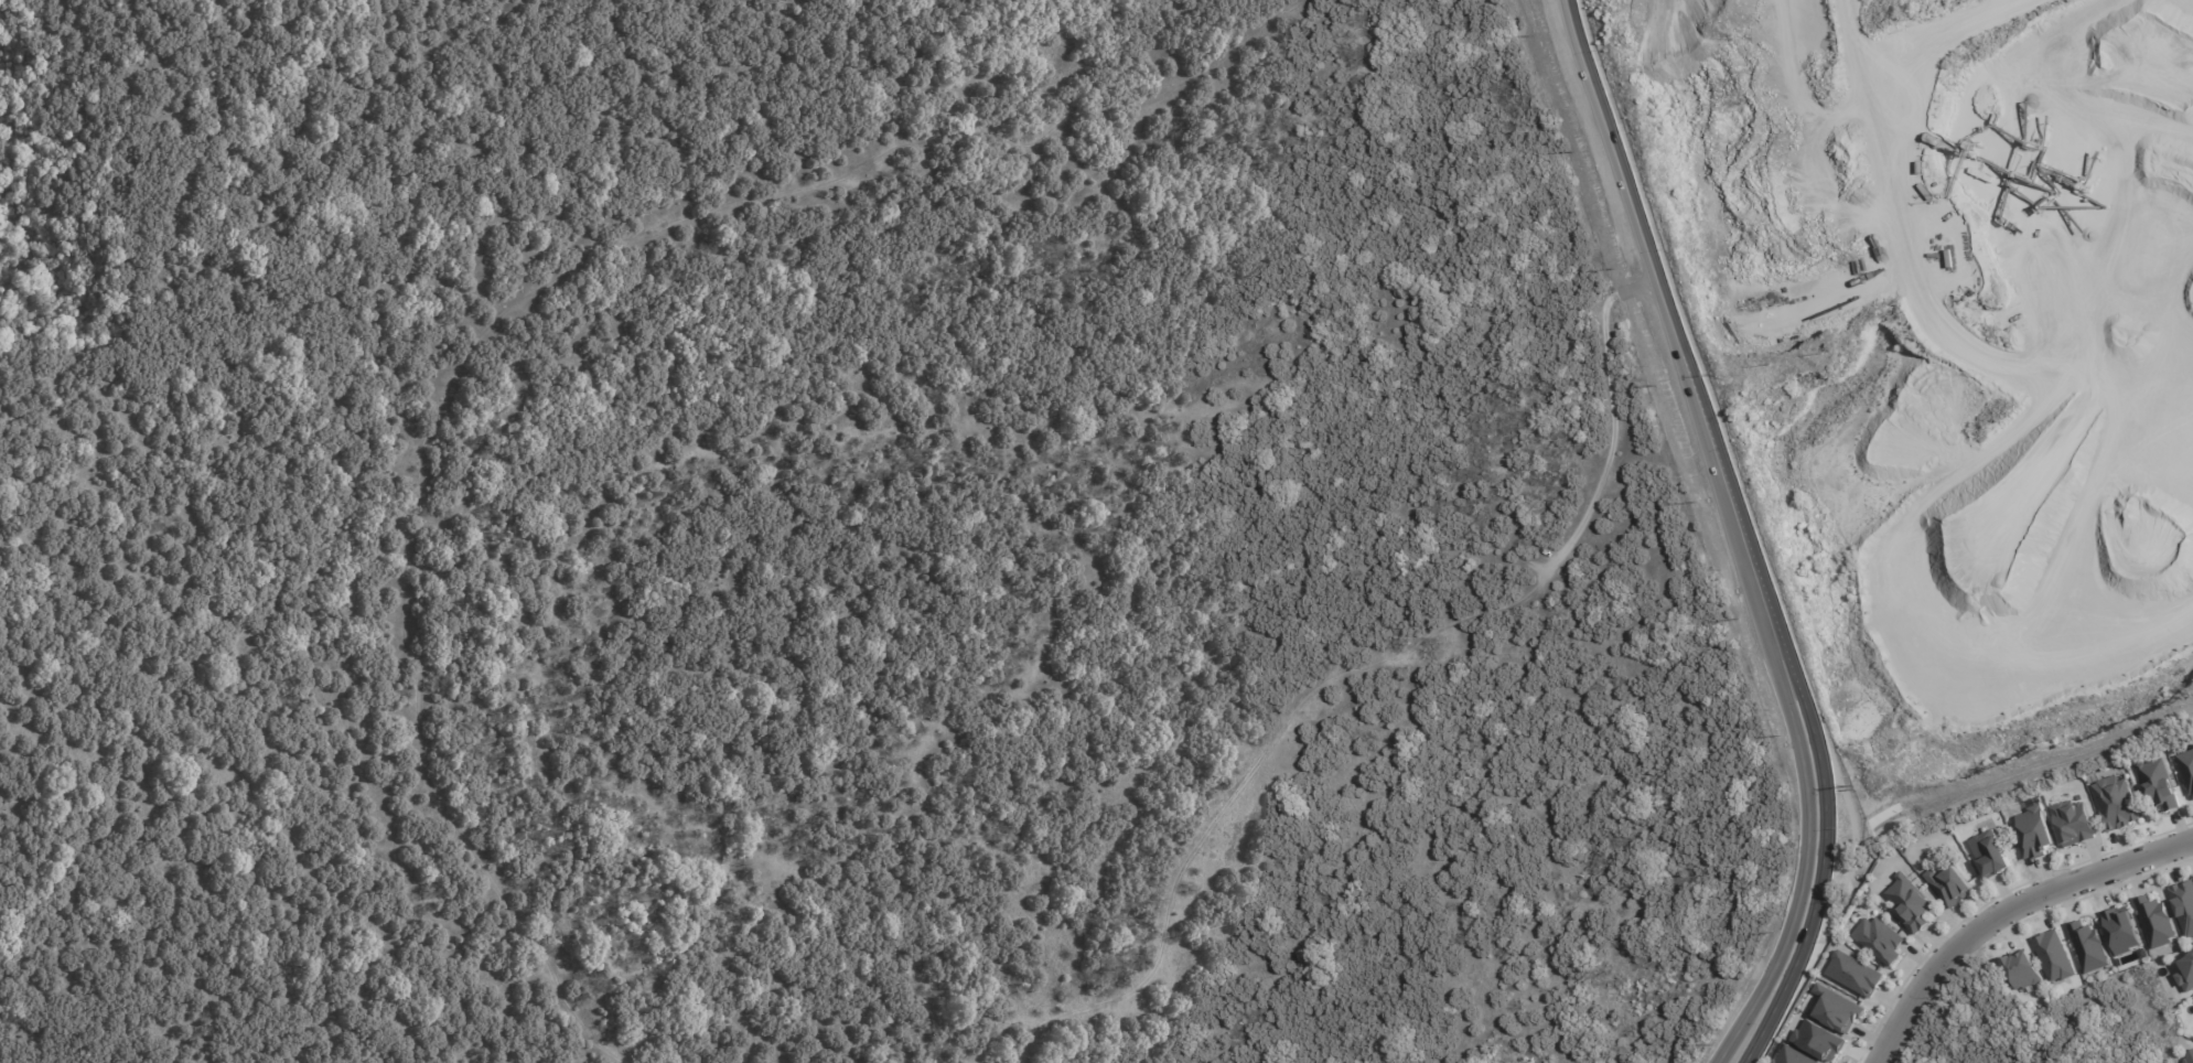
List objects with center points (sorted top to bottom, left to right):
road: (1939, 271)
quarry: (1980, 316)
road: (1681, 346)
quarry: (1937, 377)
building: (2186, 767)
building: (2159, 783)
building: (2117, 803)
building: (1886, 819)
building: (2074, 822)
building: (2036, 831)
building: (1990, 853)
road: (1821, 881)
building: (1950, 884)
road: (1800, 887)
building: (1911, 902)
building: (2184, 904)
road: (2004, 912)
building: (2156, 920)
building: (2121, 928)
building: (1879, 938)
building: (2089, 945)
building: (2054, 955)
building: (2022, 969)
building: (1855, 973)
building: (2186, 973)
building: (1838, 1008)
building: (1820, 1040)
building: (1793, 1055)
building: (2189, 1057)

